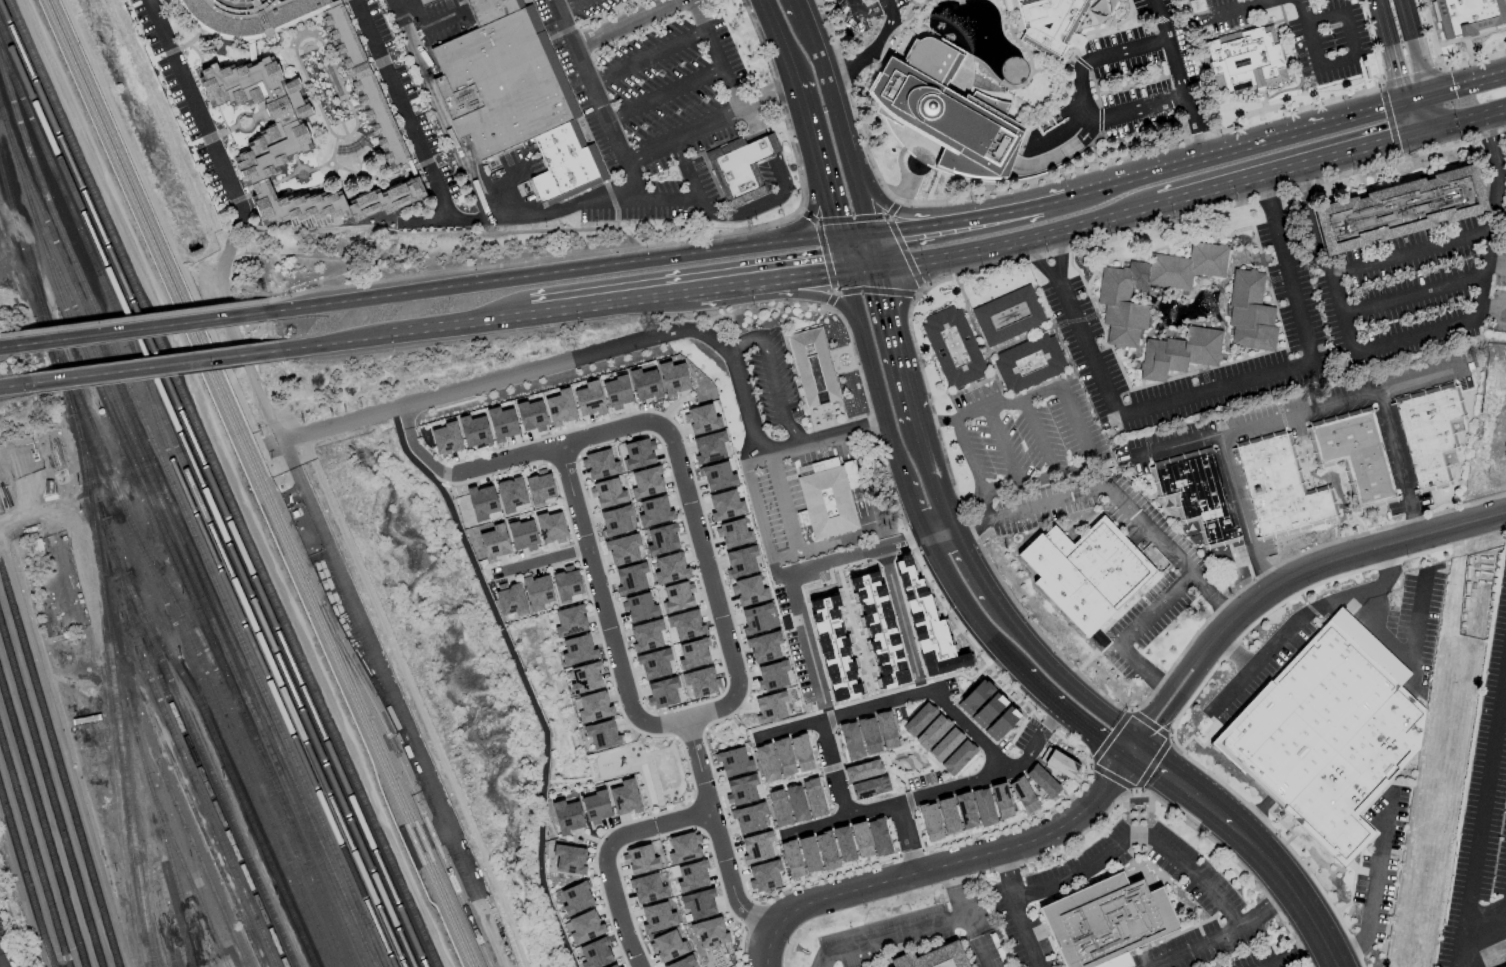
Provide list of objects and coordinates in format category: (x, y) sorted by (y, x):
road: (1259, 1)
road: (1263, 1)
building: (425, 2)
road: (884, 2)
road: (1020, 2)
road: (915, 3)
road: (856, 7)
road: (573, 8)
road: (796, 8)
road: (873, 9)
road: (1228, 11)
road: (1302, 11)
road: (1015, 14)
road: (1006, 15)
building: (1468, 16)
road: (626, 24)
building: (1051, 24)
road: (902, 28)
road: (888, 39)
road: (929, 39)
road: (779, 40)
road: (1022, 46)
road: (1402, 48)
road: (872, 53)
road: (1355, 53)
road: (646, 59)
building: (1248, 62)
road: (1440, 65)
road: (1176, 78)
road: (1461, 84)
road: (1020, 86)
road: (1084, 96)
road: (663, 97)
traffic signals: (1417, 97)
building: (516, 98)
road: (830, 98)
road: (770, 100)
building: (369, 101)
road: (1401, 101)
road: (440, 108)
road: (403, 110)
building: (951, 112)
road: (197, 115)
road: (738, 115)
road: (1422, 115)
road: (1466, 121)
road: (1295, 130)
road: (1064, 132)
traffic signals: (1427, 133)
building: (288, 147)
road: (1149, 151)
road: (1062, 155)
road: (821, 158)
road: (901, 164)
road: (1164, 168)
road: (1292, 169)
building: (745, 172)
road: (625, 175)
road: (1094, 191)
road: (997, 194)
road: (1054, 202)
road: (701, 203)
road: (813, 208)
road: (864, 208)
building: (1398, 209)
road: (1015, 211)
road: (917, 218)
road: (435, 221)
road: (929, 225)
traffic signals: (871, 235)
road: (857, 236)
traffic signals: (843, 238)
road: (650, 246)
road: (1005, 247)
road: (874, 251)
road: (1410, 252)
road: (846, 254)
road: (1060, 257)
road: (1321, 261)
road: (1039, 262)
traffic signals: (878, 267)
traffic signals: (849, 270)
road: (553, 274)
road: (1482, 278)
road: (689, 292)
road: (784, 295)
road: (1413, 295)
building: (1113, 296)
building: (1249, 312)
building: (1009, 317)
road: (137, 318)
road: (460, 326)
road: (138, 329)
road: (335, 342)
road: (895, 343)
road: (7, 346)
building: (952, 347)
building: (1179, 352)
building: (1028, 363)
road: (869, 364)
road: (155, 367)
building: (818, 367)
building: (673, 378)
building: (644, 384)
road: (1236, 384)
road: (15, 386)
road: (739, 388)
building: (617, 392)
road: (775, 392)
building: (589, 399)
road: (987, 407)
building: (560, 408)
road: (400, 409)
road: (1297, 413)
building: (531, 416)
building: (700, 419)
building: (502, 424)
building: (474, 431)
building: (1429, 432)
road: (820, 437)
road: (1041, 437)
building: (446, 439)
building: (709, 447)
road: (1001, 447)
building: (638, 454)
building: (1353, 455)
road: (970, 457)
road: (1398, 463)
building: (599, 464)
road: (1079, 468)
road: (900, 470)
road: (932, 474)
building: (718, 476)
building: (646, 482)
railway: (221, 483)
railway: (255, 483)
railway: (264, 483)
railway: (211, 485)
building: (1281, 487)
building: (525, 492)
building: (607, 493)
building: (1195, 493)
railway: (206, 497)
building: (832, 498)
building: (482, 502)
building: (725, 505)
road: (990, 507)
railway: (201, 509)
road: (915, 510)
building: (654, 511)
road: (1242, 511)
road: (1018, 514)
road: (862, 517)
railway: (186, 518)
building: (615, 521)
building: (550, 527)
building: (732, 533)
building: (522, 535)
building: (662, 540)
building: (494, 542)
railway: (167, 543)
railway: (187, 543)
building: (622, 549)
road: (882, 549)
road: (1173, 552)
road: (777, 558)
railway: (97, 559)
road: (543, 559)
building: (741, 561)
road: (968, 561)
road: (1316, 564)
building: (670, 568)
building: (1087, 572)
building: (631, 578)
railway: (194, 582)
building: (566, 583)
road: (954, 589)
building: (748, 590)
building: (537, 591)
road: (1368, 592)
building: (676, 597)
road: (716, 599)
building: (510, 601)
building: (638, 607)
road: (901, 607)
road: (800, 616)
building: (756, 618)
building: (570, 621)
building: (927, 622)
building: (685, 624)
building: (879, 629)
road: (1132, 634)
building: (646, 635)
road: (1280, 639)
building: (764, 646)
building: (577, 650)
building: (834, 650)
road: (1232, 650)
railway: (186, 652)
road: (1003, 653)
building: (693, 654)
road: (1408, 656)
railway: (257, 657)
building: (654, 663)
road: (1058, 673)
building: (772, 676)
building: (585, 678)
building: (701, 682)
road: (1233, 688)
building: (662, 693)
railway: (175, 694)
building: (975, 697)
road: (396, 701)
road: (896, 701)
building: (593, 707)
building: (770, 707)
road: (828, 712)
building: (995, 716)
road: (1070, 716)
road: (1047, 719)
building: (918, 720)
road: (1152, 721)
building: (886, 730)
railway: (241, 731)
building: (931, 732)
building: (601, 734)
building: (1327, 734)
building: (868, 736)
building: (851, 741)
building: (945, 744)
railway: (178, 747)
traffic signals: (1131, 750)
building: (801, 753)
building: (783, 757)
building: (958, 757)
railway: (245, 762)
building: (734, 762)
building: (1058, 762)
building: (766, 763)
railway: (226, 766)
road: (698, 766)
railway: (58, 768)
road: (832, 769)
building: (862, 770)
railway: (146, 771)
railway: (199, 772)
road: (977, 780)
building: (1042, 781)
railway: (409, 783)
road: (1183, 786)
building: (870, 787)
building: (740, 790)
railway: (50, 795)
building: (1022, 796)
building: (625, 797)
building: (813, 797)
building: (1001, 800)
building: (796, 803)
building: (595, 807)
building: (778, 807)
building: (983, 807)
building: (965, 810)
road: (1479, 812)
building: (947, 815)
building: (567, 816)
building: (749, 818)
road: (844, 818)
building: (930, 822)
road: (658, 823)
railway: (42, 824)
road: (1136, 834)
building: (878, 837)
road: (907, 837)
building: (860, 839)
building: (843, 844)
building: (757, 847)
building: (685, 848)
building: (826, 850)
railway: (33, 854)
building: (808, 854)
building: (571, 859)
building: (791, 859)
building: (641, 860)
road: (945, 863)
railway: (185, 871)
railway: (204, 871)
road: (1378, 872)
building: (693, 876)
building: (764, 876)
railway: (25, 881)
building: (648, 888)
road: (957, 890)
road: (1291, 891)
building: (577, 899)
building: (700, 904)
road: (1015, 910)
road: (1268, 911)
building: (658, 917)
building: (1112, 923)
building: (586, 927)
railway: (175, 928)
road: (1482, 930)
building: (711, 932)
road: (892, 937)
railway: (160, 938)
building: (668, 946)
road: (1197, 947)
road: (1348, 949)
building: (597, 954)
road: (984, 954)
road: (1295, 954)
building: (945, 958)
building: (684, 962)
road: (1, 964)
building: (615, 966)
building: (1504, 966)

